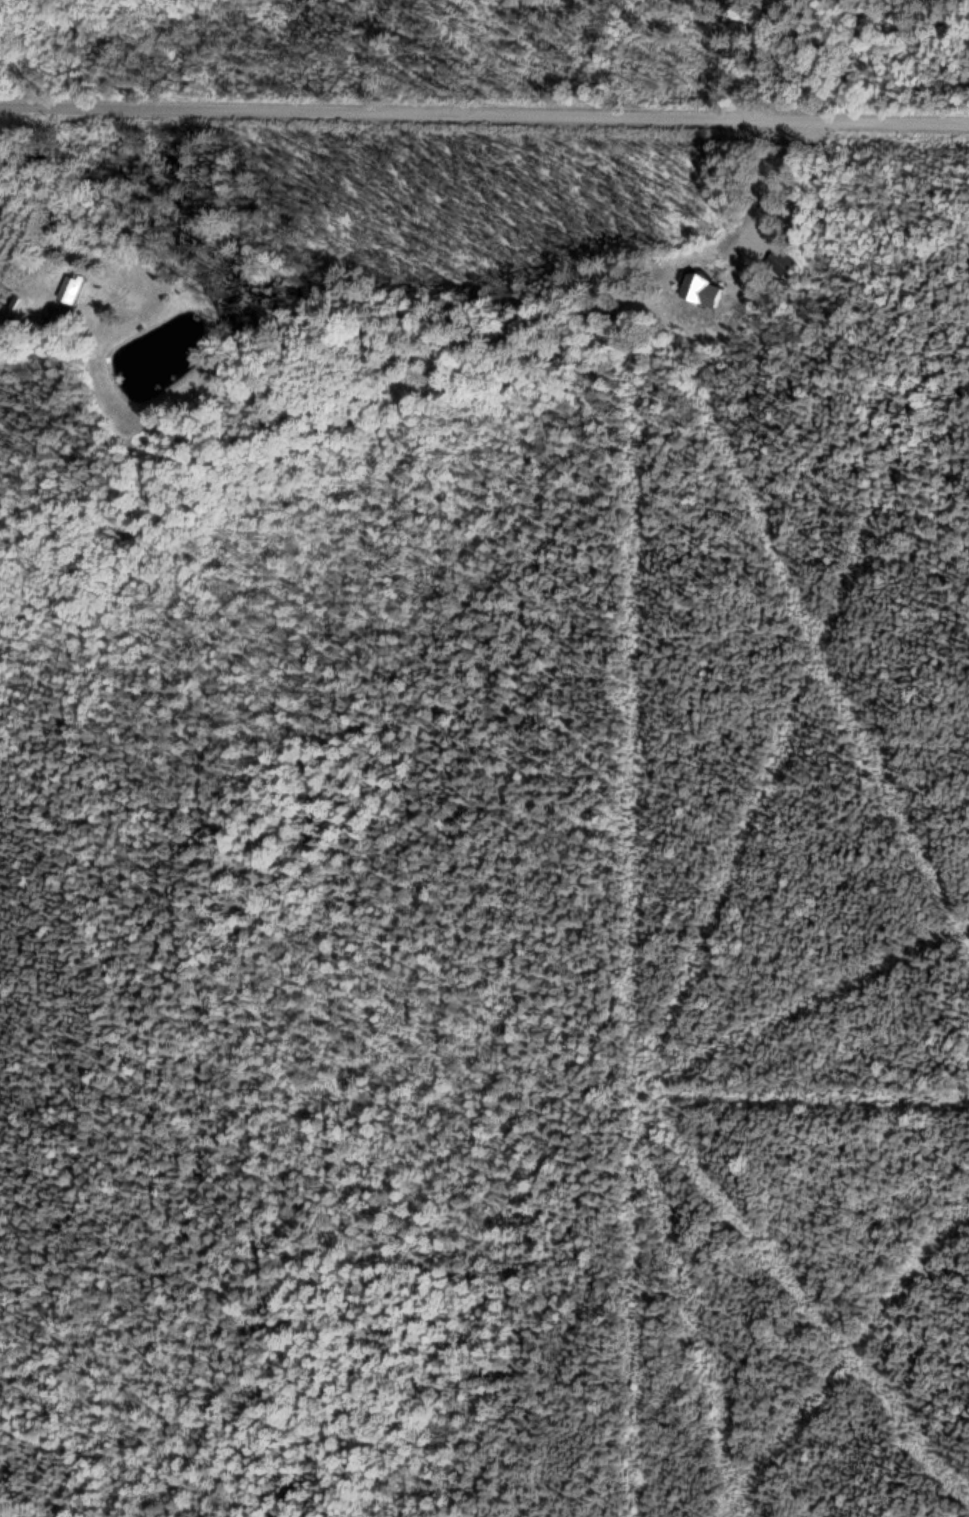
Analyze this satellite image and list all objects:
road: (17, 80)
road: (484, 115)
road: (780, 178)
building: (75, 289)

